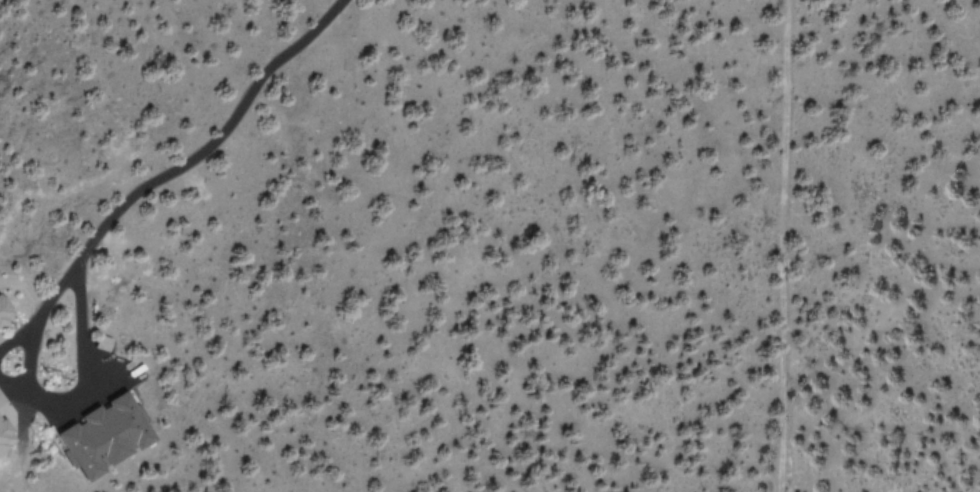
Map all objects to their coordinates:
building: (1, 309)
building: (2, 437)

